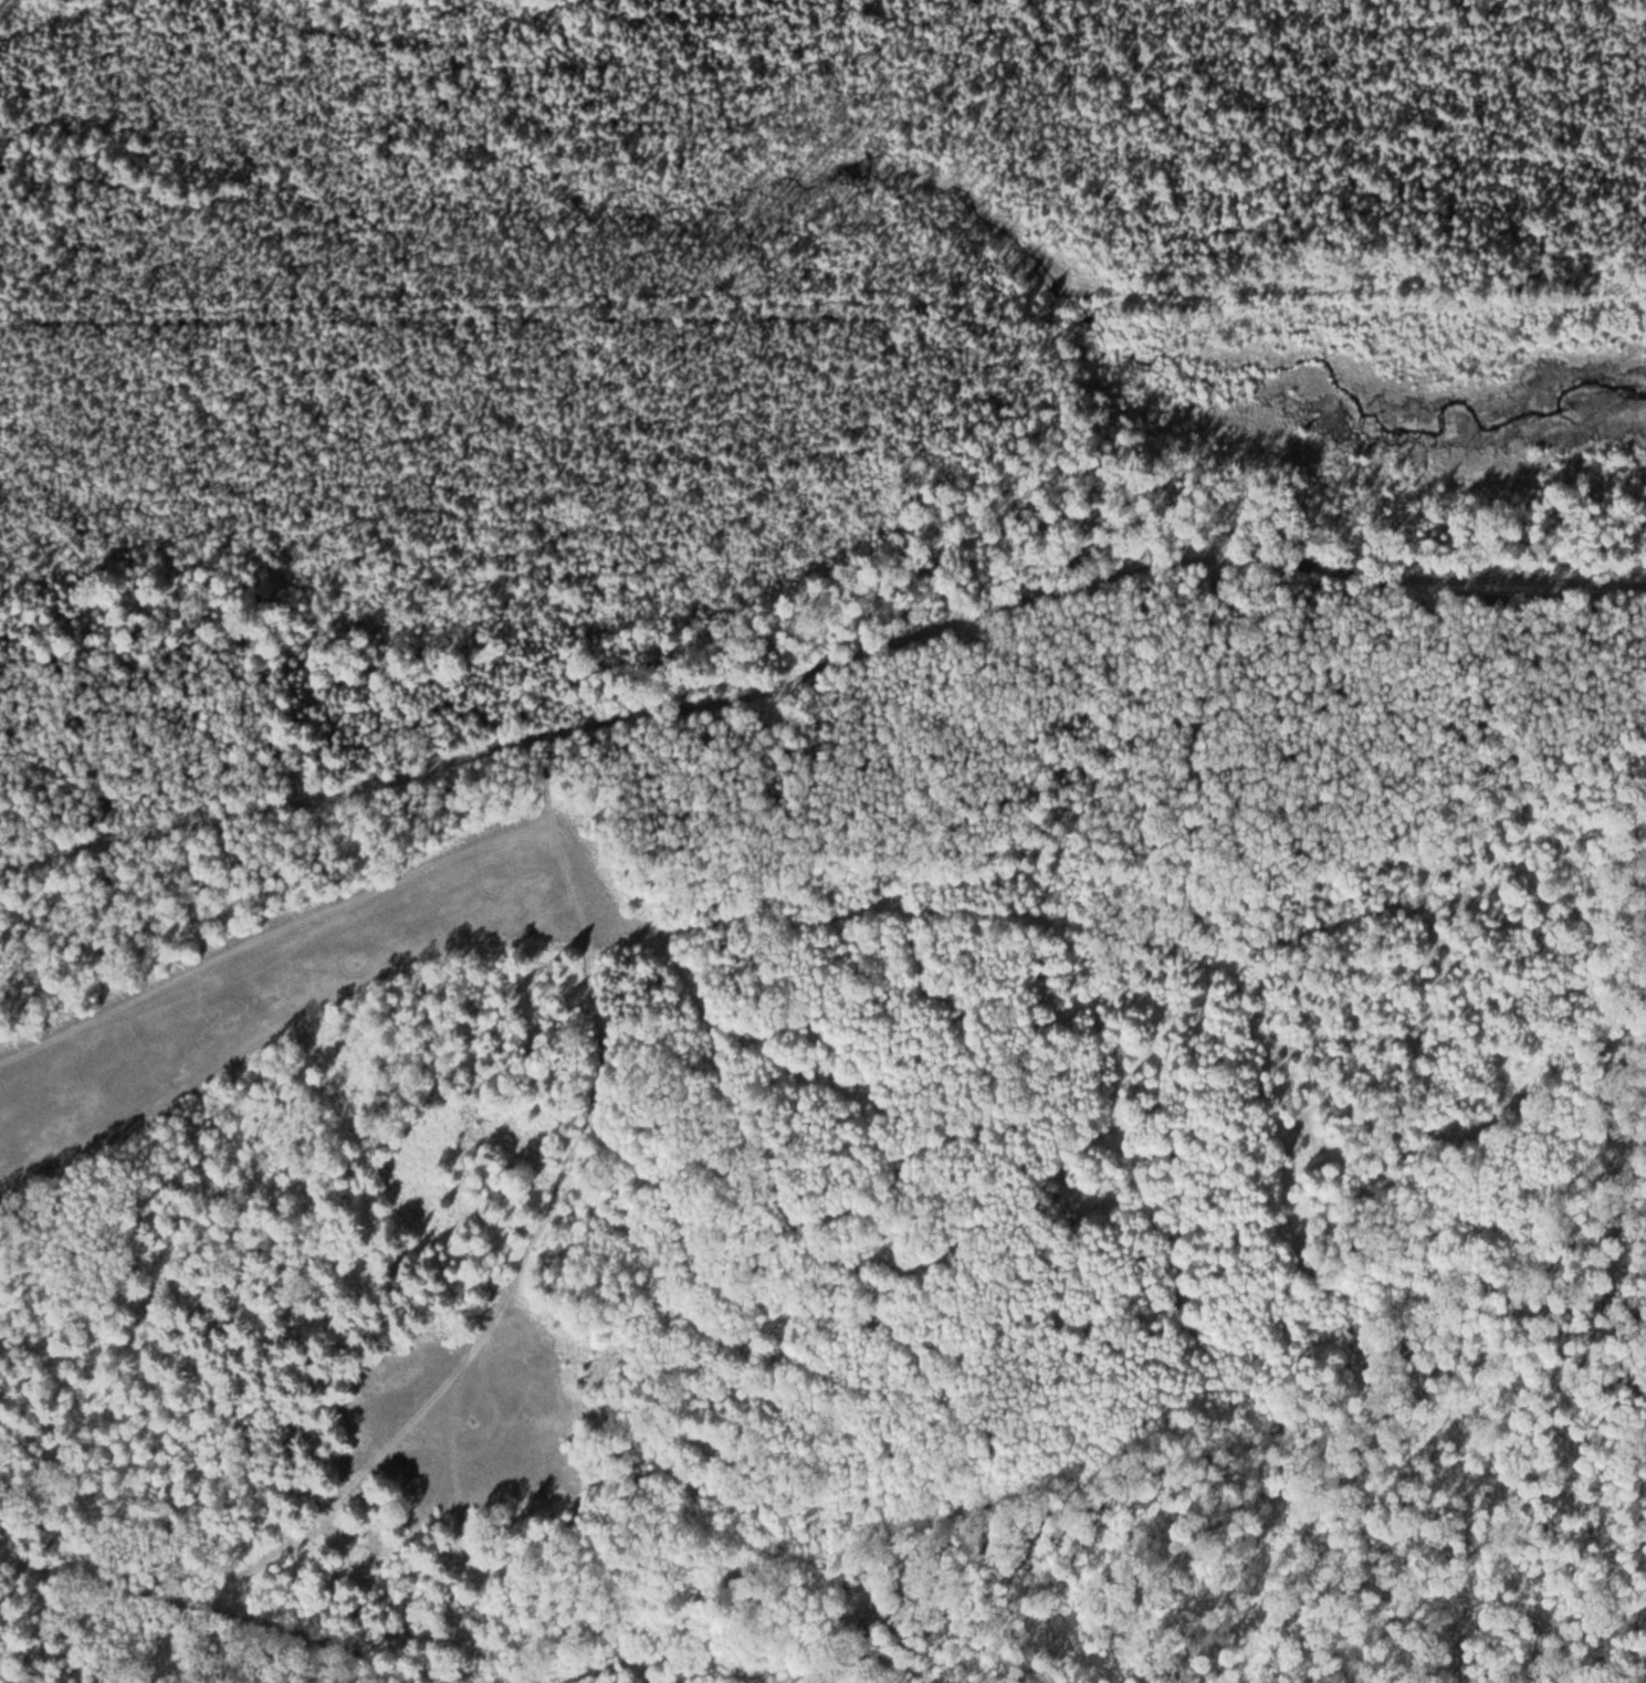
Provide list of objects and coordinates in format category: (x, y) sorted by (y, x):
road: (820, 663)
road: (551, 1233)
road: (214, 1613)

